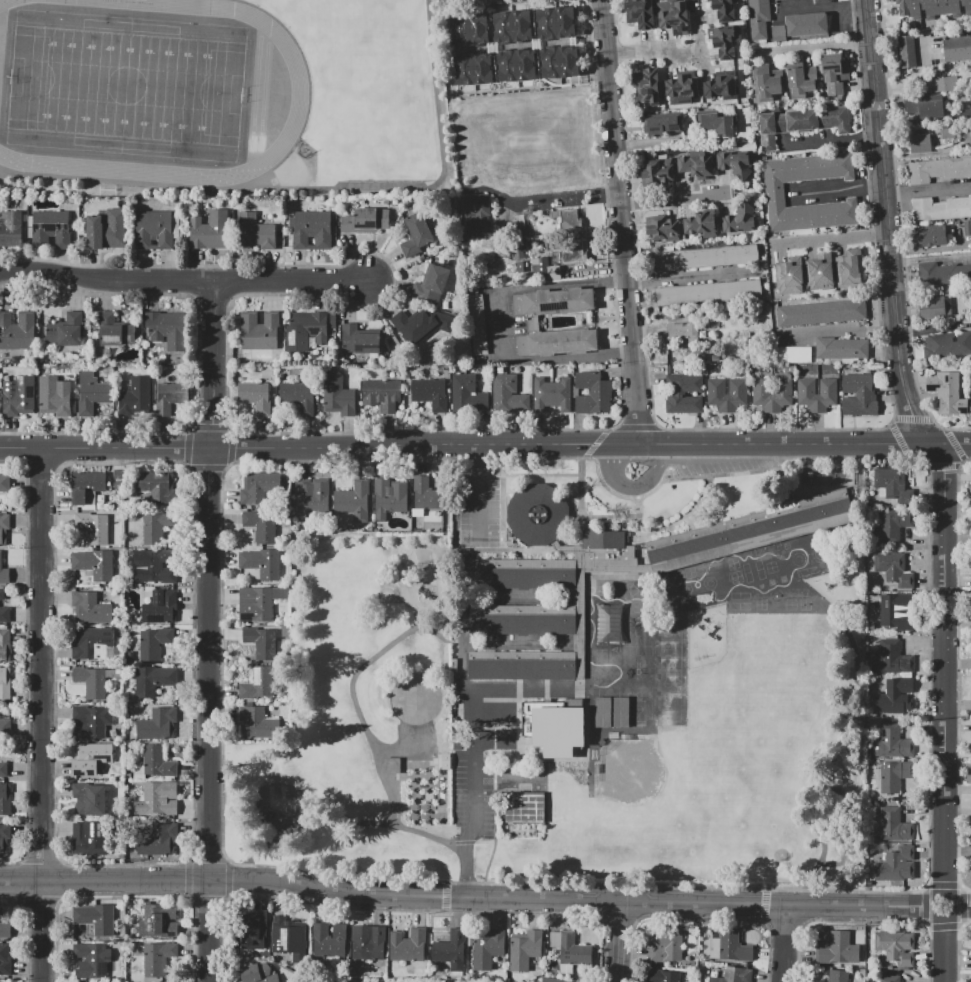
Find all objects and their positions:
building: (822, 1)
building: (932, 8)
building: (724, 10)
building: (641, 13)
building: (673, 16)
building: (758, 18)
building: (555, 22)
building: (807, 23)
building: (512, 26)
building: (468, 28)
building: (778, 33)
building: (724, 39)
road: (814, 48)
building: (916, 49)
building: (957, 49)
road: (670, 53)
building: (560, 62)
building: (516, 65)
building: (473, 68)
building: (837, 78)
building: (801, 81)
building: (765, 84)
park: (126, 85)
building: (937, 85)
building: (647, 86)
building: (722, 86)
building: (682, 89)
track: (300, 93)
building: (926, 106)
building: (962, 114)
building: (805, 119)
building: (718, 120)
building: (664, 125)
road: (834, 141)
building: (919, 142)
building: (735, 165)
building: (695, 168)
building: (937, 169)
building: (659, 172)
road: (838, 191)
road: (928, 191)
building: (775, 192)
road: (566, 197)
road: (670, 200)
building: (941, 208)
building: (476, 215)
building: (739, 217)
building: (565, 220)
building: (365, 221)
road: (620, 221)
building: (702, 223)
building: (663, 227)
building: (50, 228)
building: (10, 229)
building: (152, 229)
building: (312, 229)
building: (106, 230)
building: (209, 231)
building: (254, 232)
road: (900, 233)
building: (415, 234)
building: (930, 235)
building: (573, 251)
building: (705, 257)
building: (539, 266)
building: (849, 270)
building: (553, 272)
building: (819, 272)
building: (945, 272)
road: (685, 274)
building: (790, 276)
road: (185, 280)
building: (431, 284)
building: (707, 293)
building: (554, 301)
building: (935, 307)
building: (821, 313)
building: (477, 323)
building: (413, 324)
road: (499, 325)
building: (166, 329)
building: (17, 330)
building: (114, 330)
building: (307, 330)
building: (66, 331)
building: (682, 332)
building: (259, 335)
building: (358, 341)
building: (557, 342)
building: (948, 347)
building: (842, 348)
building: (792, 355)
building: (715, 358)
road: (199, 361)
building: (970, 382)
building: (944, 388)
building: (92, 393)
building: (430, 393)
building: (467, 393)
building: (551, 393)
building: (592, 393)
building: (337, 394)
building: (382, 394)
building: (507, 394)
building: (673, 394)
building: (772, 394)
building: (53, 395)
building: (858, 395)
building: (18, 396)
building: (255, 396)
building: (136, 397)
building: (170, 397)
building: (299, 397)
building: (817, 398)
building: (727, 400)
road: (911, 418)
road: (211, 426)
road: (637, 426)
road: (772, 429)
road: (273, 432)
road: (899, 441)
road: (595, 442)
road: (648, 442)
road: (814, 443)
road: (933, 444)
road: (955, 444)
road: (319, 445)
road: (230, 446)
road: (186, 447)
road: (590, 458)
road: (663, 462)
parking lot: (728, 465)
road: (943, 465)
road: (207, 467)
road: (540, 473)
road: (669, 473)
building: (891, 482)
building: (5, 483)
road: (632, 485)
building: (155, 486)
building: (253, 489)
building: (85, 490)
road: (635, 491)
road: (479, 493)
building: (427, 494)
building: (312, 496)
building: (388, 499)
road: (579, 500)
building: (353, 502)
road: (501, 502)
parking lot: (482, 505)
flagpole: (585, 508)
building: (536, 514)
road: (608, 515)
road: (684, 515)
road: (638, 520)
building: (893, 524)
building: (96, 526)
building: (260, 526)
building: (153, 529)
building: (4, 530)
building: (749, 535)
building: (603, 539)
building: (261, 563)
building: (95, 565)
building: (157, 568)
building: (892, 569)
building: (4, 577)
building: (521, 578)
building: (2, 595)
park: (775, 595)
building: (256, 605)
building: (159, 607)
building: (89, 608)
building: (892, 608)
building: (4, 614)
building: (608, 622)
building: (522, 623)
building: (670, 630)
road: (210, 631)
building: (262, 641)
building: (155, 642)
park: (636, 645)
building: (5, 646)
building: (92, 646)
building: (671, 647)
building: (891, 658)
road: (193, 661)
road: (220, 663)
building: (671, 665)
building: (522, 669)
road: (956, 671)
road: (929, 676)
building: (152, 680)
building: (92, 681)
building: (670, 682)
building: (5, 683)
building: (258, 683)
road: (474, 689)
road: (353, 694)
park: (636, 694)
building: (894, 698)
building: (670, 700)
building: (602, 711)
building: (620, 711)
building: (637, 711)
park: (360, 715)
road: (41, 716)
building: (670, 717)
building: (90, 722)
building: (257, 722)
building: (158, 725)
building: (552, 725)
building: (4, 727)
building: (891, 743)
road: (497, 757)
building: (90, 758)
building: (444, 761)
building: (157, 763)
building: (392, 765)
building: (3, 770)
building: (894, 775)
park: (639, 779)
road: (475, 781)
park: (426, 795)
building: (5, 797)
building: (89, 800)
building: (159, 800)
building: (524, 807)
road: (345, 821)
building: (893, 826)
park: (764, 838)
building: (4, 841)
building: (158, 841)
road: (484, 841)
building: (87, 842)
road: (463, 842)
road: (208, 859)
road: (488, 861)
building: (896, 865)
road: (465, 870)
road: (188, 878)
road: (227, 878)
road: (576, 883)
road: (943, 885)
road: (444, 895)
road: (207, 898)
road: (467, 898)
road: (763, 903)
road: (962, 904)
road: (924, 905)
road: (962, 906)
road: (410, 908)
road: (951, 912)
road: (620, 915)
road: (703, 915)
building: (94, 917)
road: (868, 919)
road: (786, 920)
building: (160, 921)
road: (943, 925)
building: (4, 930)
building: (254, 934)
building: (287, 935)
building: (329, 940)
building: (367, 941)
road: (620, 942)
building: (665, 943)
road: (787, 943)
building: (408, 945)
building: (731, 945)
building: (896, 946)
building: (488, 948)
building: (571, 948)
road: (946, 948)
building: (452, 949)
building: (525, 949)
building: (838, 951)
building: (153, 958)
building: (4, 959)
building: (91, 959)
building: (258, 973)
building: (662, 975)
building: (734, 975)
building: (838, 976)
building: (890, 979)
building: (551, 980)

